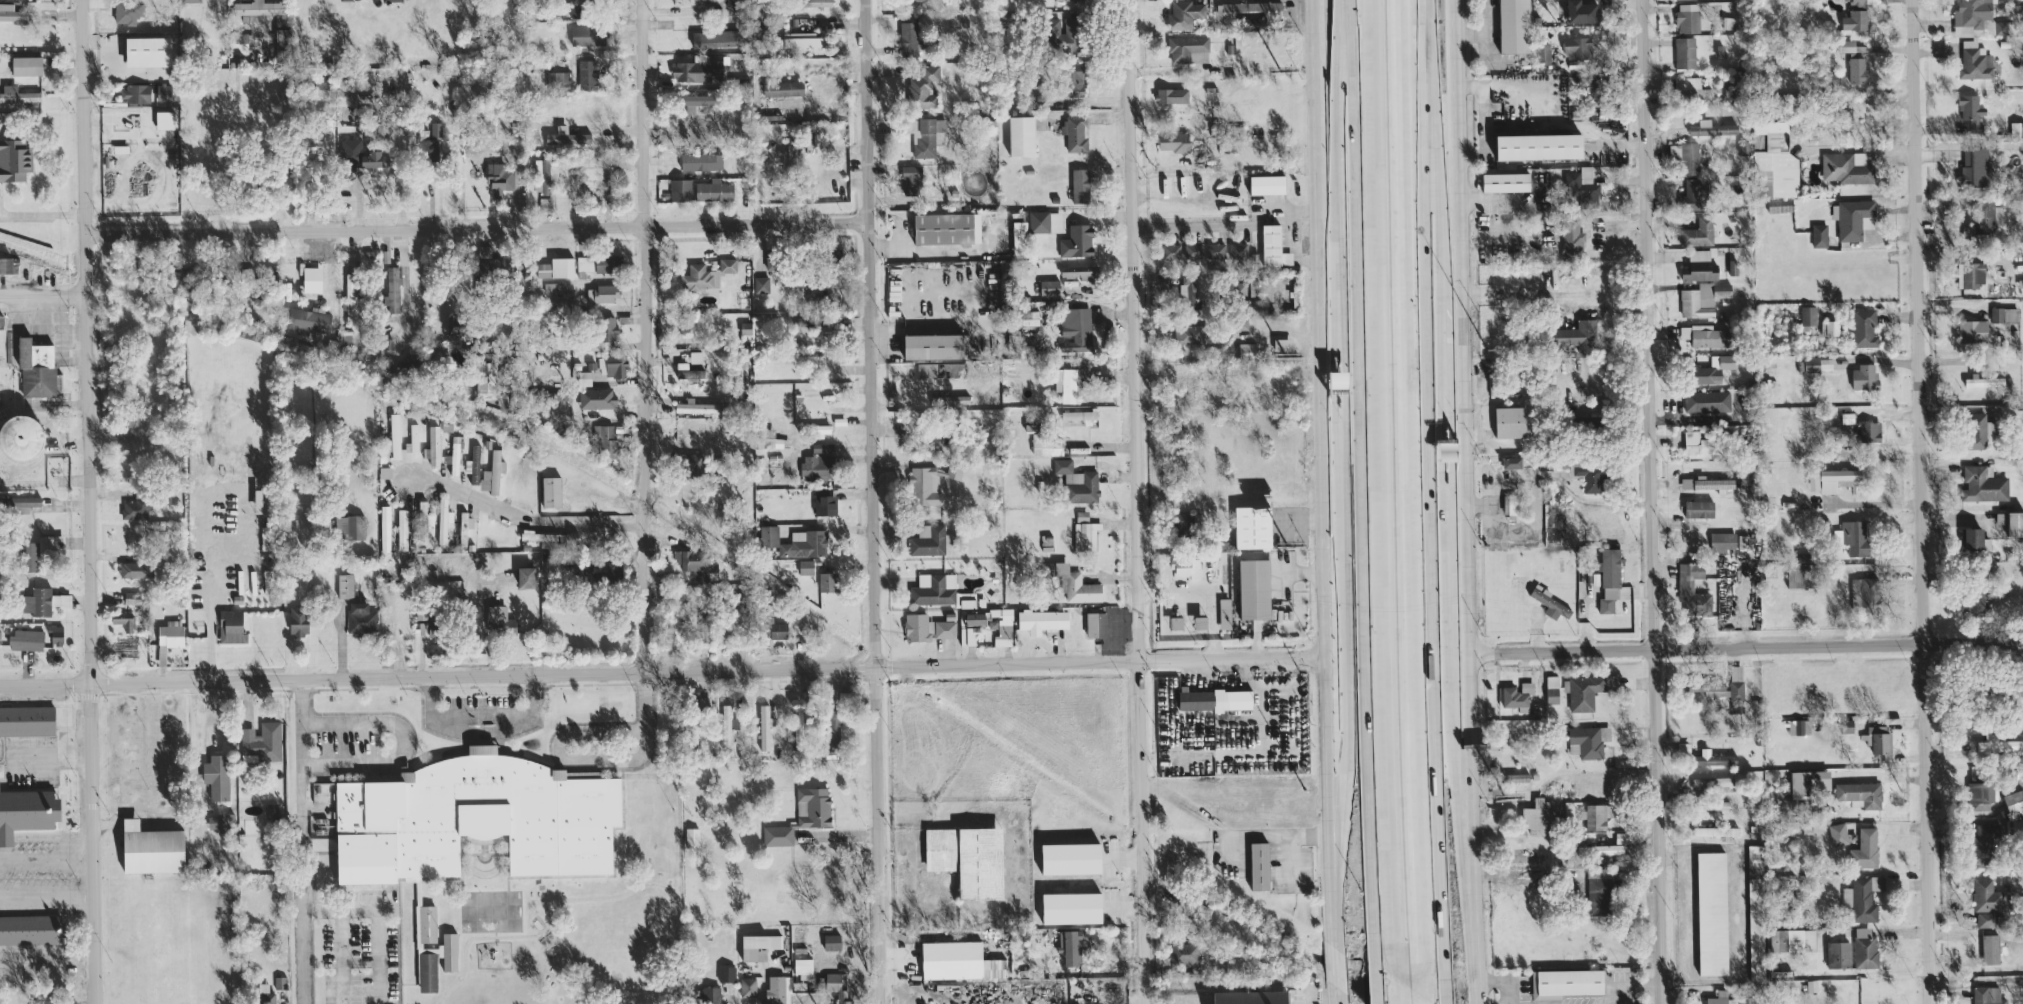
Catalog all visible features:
building: (341, 0)
building: (391, 0)
building: (190, 1)
building: (692, 1)
building: (807, 4)
building: (577, 8)
building: (1248, 9)
building: (1185, 11)
building: (1582, 11)
building: (11, 12)
building: (1857, 16)
building: (1688, 17)
building: (1977, 19)
building: (956, 20)
building: (1515, 26)
building: (282, 28)
building: (585, 34)
building: (1063, 34)
building: (908, 37)
building: (715, 38)
building: (802, 39)
building: (240, 43)
building: (1851, 45)
building: (1189, 47)
building: (1578, 47)
building: (148, 50)
building: (1543, 51)
building: (1685, 52)
building: (1975, 61)
building: (26, 65)
building: (700, 68)
building: (1860, 69)
building: (588, 73)
building: (558, 79)
building: (1073, 81)
building: (923, 87)
building: (783, 88)
building: (1691, 88)
building: (163, 92)
building: (135, 93)
building: (18, 95)
building: (1172, 95)
building: (697, 101)
road: (642, 112)
building: (1972, 113)
building: (164, 119)
building: (435, 128)
building: (1712, 128)
building: (2016, 128)
building: (1075, 132)
building: (926, 135)
building: (1022, 135)
building: (568, 137)
building: (1174, 141)
building: (427, 144)
building: (1539, 146)
building: (1675, 149)
road: (1436, 153)
building: (358, 155)
building: (1690, 157)
building: (14, 159)
building: (701, 160)
building: (1776, 161)
building: (1974, 166)
building: (1845, 168)
building: (544, 169)
building: (588, 173)
building: (499, 179)
building: (911, 179)
building: (1506, 182)
building: (1080, 184)
building: (1267, 184)
building: (1582, 185)
building: (680, 189)
building: (714, 189)
road: (1351, 191)
building: (1694, 194)
road: (1292, 209)
road: (41, 213)
building: (1852, 217)
building: (1984, 219)
building: (1039, 221)
road: (1184, 224)
road: (476, 227)
road: (1306, 227)
building: (947, 228)
building: (1699, 232)
building: (1020, 235)
building: (1819, 235)
building: (1572, 238)
building: (1078, 241)
road: (1295, 243)
building: (1274, 246)
building: (1238, 250)
building: (1172, 251)
building: (1193, 251)
building: (1216, 252)
river: (38, 254)
building: (602, 263)
building: (728, 264)
building: (8, 265)
building: (584, 265)
building: (1700, 266)
building: (556, 267)
building: (495, 270)
river: (86, 271)
road: (404, 271)
building: (1080, 271)
building: (1971, 274)
building: (699, 277)
building: (309, 279)
building: (761, 284)
building: (556, 287)
building: (1049, 287)
building: (1188, 289)
building: (392, 290)
building: (603, 293)
building: (350, 295)
road: (42, 297)
building: (1703, 298)
building: (2004, 314)
building: (1806, 316)
building: (1030, 317)
building: (309, 319)
building: (454, 322)
building: (824, 327)
building: (1864, 327)
building: (745, 329)
building: (1076, 329)
building: (1973, 330)
building: (603, 333)
building: (1189, 334)
building: (1705, 335)
building: (1577, 336)
building: (564, 341)
building: (935, 346)
building: (1282, 348)
building: (1248, 351)
road: (1442, 351)
building: (696, 356)
building: (806, 358)
river: (372, 363)
building: (1815, 364)
building: (613, 365)
building: (36, 368)
building: (927, 369)
building: (1713, 369)
building: (688, 370)
building: (1865, 376)
building: (585, 378)
building: (486, 380)
building: (1985, 381)
building: (1067, 384)
building: (597, 398)
building: (1707, 400)
building: (697, 407)
building: (1081, 415)
toll booth: (1347, 420)
road: (1443, 421)
building: (1511, 421)
building: (818, 428)
building: (1979, 429)
building: (1871, 431)
building: (395, 433)
building: (21, 438)
building: (771, 439)
building: (605, 440)
building: (1701, 443)
building: (434, 445)
road: (643, 447)
toll booth: (1444, 449)
building: (455, 455)
building: (818, 460)
road: (1346, 461)
building: (691, 462)
building: (1512, 462)
building: (475, 464)
building: (954, 470)
building: (493, 473)
road: (1320, 474)
building: (1588, 474)
building: (1833, 479)
building: (1077, 482)
building: (1686, 482)
building: (1715, 483)
building: (1984, 484)
building: (924, 485)
road: (1385, 489)
road: (1445, 490)
building: (551, 491)
road: (1406, 496)
river: (641, 497)
road: (86, 502)
road: (873, 502)
road: (1133, 502)
road: (1465, 502)
road: (1651, 502)
road: (1920, 502)
building: (22, 503)
building: (136, 505)
building: (825, 505)
building: (1513, 507)
building: (1699, 509)
building: (1082, 515)
road: (521, 519)
building: (444, 520)
building: (424, 522)
building: (2012, 522)
building: (466, 523)
building: (1555, 523)
building: (1182, 525)
building: (349, 527)
building: (1253, 527)
building: (385, 528)
building: (402, 528)
building: (1086, 535)
building: (1852, 537)
building: (1977, 539)
building: (928, 540)
building: (794, 541)
building: (1722, 541)
building: (39, 550)
building: (692, 560)
building: (806, 566)
building: (1187, 567)
building: (136, 569)
building: (609, 571)
building: (698, 575)
river: (751, 576)
building: (526, 577)
building: (1798, 577)
building: (827, 581)
building: (1610, 581)
building: (345, 585)
building: (1077, 585)
building: (1691, 588)
building: (934, 589)
building: (1255, 589)
building: (1862, 591)
building: (132, 597)
building: (44, 601)
building: (1549, 602)
building: (1225, 613)
building: (361, 618)
building: (975, 619)
building: (124, 620)
road: (211, 620)
building: (298, 620)
building: (1042, 620)
building: (500, 621)
building: (1201, 622)
building: (1177, 623)
building: (1094, 624)
road: (1342, 624)
building: (231, 626)
building: (946, 626)
building: (1003, 626)
building: (918, 627)
building: (703, 628)
building: (778, 629)
building: (673, 630)
building: (55, 633)
building: (26, 639)
road: (1745, 646)
road: (660, 669)
river: (891, 671)
building: (1552, 689)
building: (1725, 689)
building: (1584, 692)
building: (1518, 695)
building: (1215, 699)
road: (1446, 706)
building: (1737, 710)
road: (481, 713)
building: (27, 719)
building: (834, 720)
building: (726, 726)
building: (764, 726)
building: (693, 731)
road: (482, 732)
building: (798, 733)
road: (62, 737)
building: (1878, 738)
building: (1588, 740)
building: (264, 743)
road: (405, 743)
building: (1998, 743)
building: (1713, 757)
road: (591, 759)
road: (55, 764)
building: (217, 775)
building: (1517, 776)
building: (1713, 781)
building: (1811, 782)
building: (1860, 793)
building: (1981, 793)
building: (2014, 801)
building: (1716, 804)
building: (26, 811)
building: (801, 815)
building: (1596, 815)
building: (1541, 818)
building: (475, 819)
building: (223, 820)
building: (1716, 830)
building: (1838, 833)
road: (1230, 835)
building: (692, 836)
building: (1994, 837)
road: (302, 841)
building: (152, 847)
river: (1163, 847)
building: (941, 848)
building: (1607, 848)
building: (1865, 848)
road: (1230, 849)
building: (1521, 855)
building: (1071, 857)
road: (47, 858)
road: (1293, 859)
building: (981, 862)
building: (1260, 865)
building: (1600, 890)
building: (1987, 895)
road: (47, 897)
road: (581, 897)
building: (1863, 897)
building: (1072, 906)
building: (1194, 907)
road: (350, 909)
building: (1713, 912)
building: (1986, 918)
building: (1757, 927)
building: (30, 928)
building: (1793, 939)
building: (758, 944)
building: (1070, 945)
building: (1865, 947)
building: (1994, 947)
building: (832, 949)
building: (1184, 952)
building: (1839, 953)
road: (379, 956)
road: (343, 957)
building: (959, 960)
building: (803, 965)
road: (1336, 966)
building: (727, 973)
building: (280, 981)
building: (1566, 982)
building: (748, 986)
road: (1629, 987)
building: (837, 988)
building: (775, 990)
road: (1399, 991)
building: (265, 994)
building: (709, 995)
road: (1337, 995)
building: (1988, 995)
building: (1251, 996)
road: (1310, 996)
building: (1721, 998)
road: (1420, 999)
building: (49, 1001)

